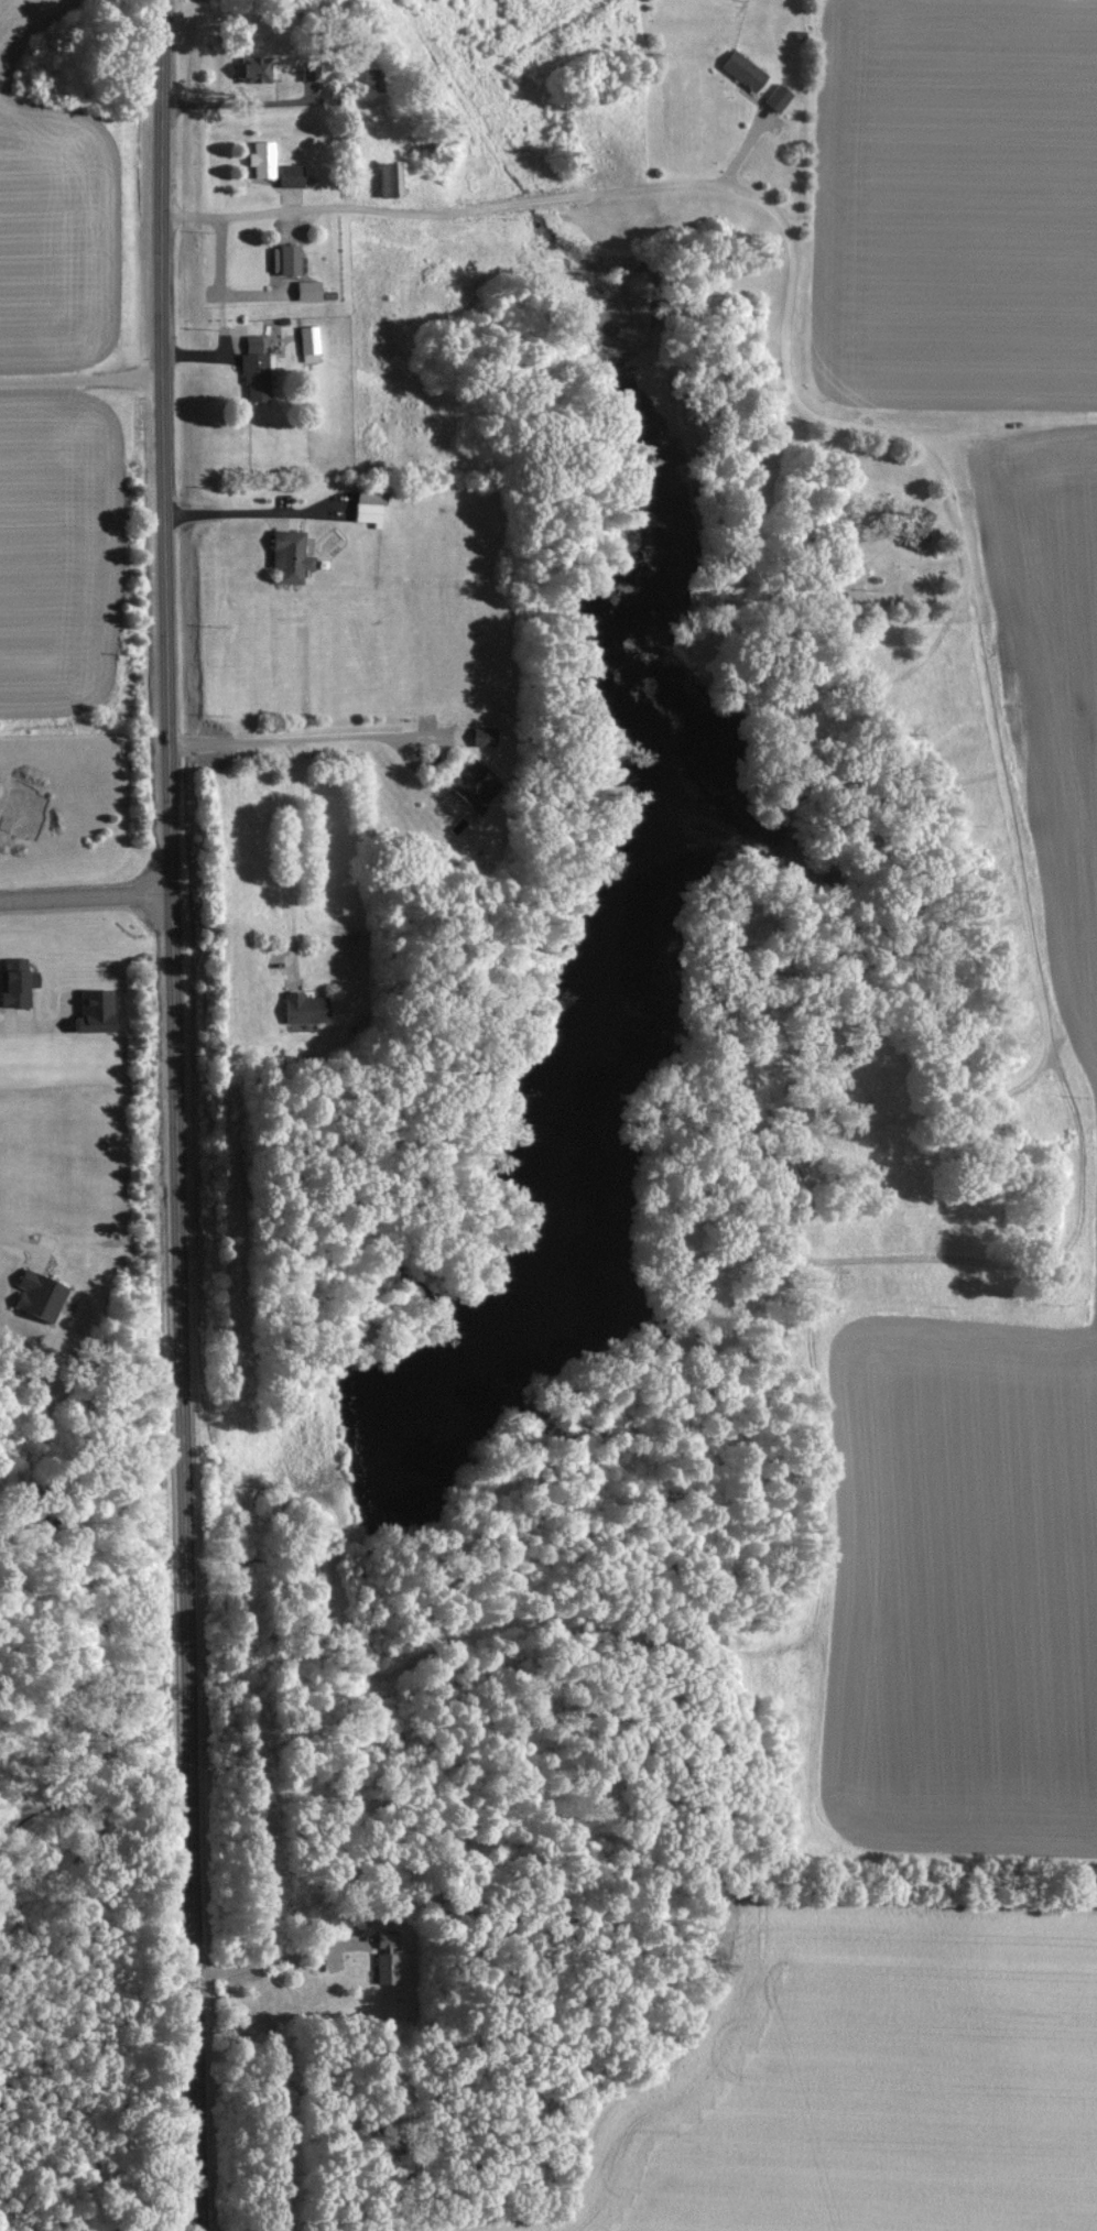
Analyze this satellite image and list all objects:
building: (259, 67)
building: (746, 69)
building: (309, 70)
building: (779, 96)
building: (264, 157)
building: (293, 174)
building: (391, 177)
building: (287, 258)
building: (311, 289)
building: (309, 338)
building: (257, 369)
road: (86, 373)
building: (371, 507)
road: (954, 521)
building: (292, 556)
building: (486, 734)
road: (306, 738)
building: (477, 782)
road: (291, 848)
road: (89, 896)
building: (19, 981)
building: (308, 1008)
building: (98, 1010)
road: (186, 1115)
building: (42, 1295)
dam: (349, 1459)
building: (389, 1957)
road: (286, 1958)

